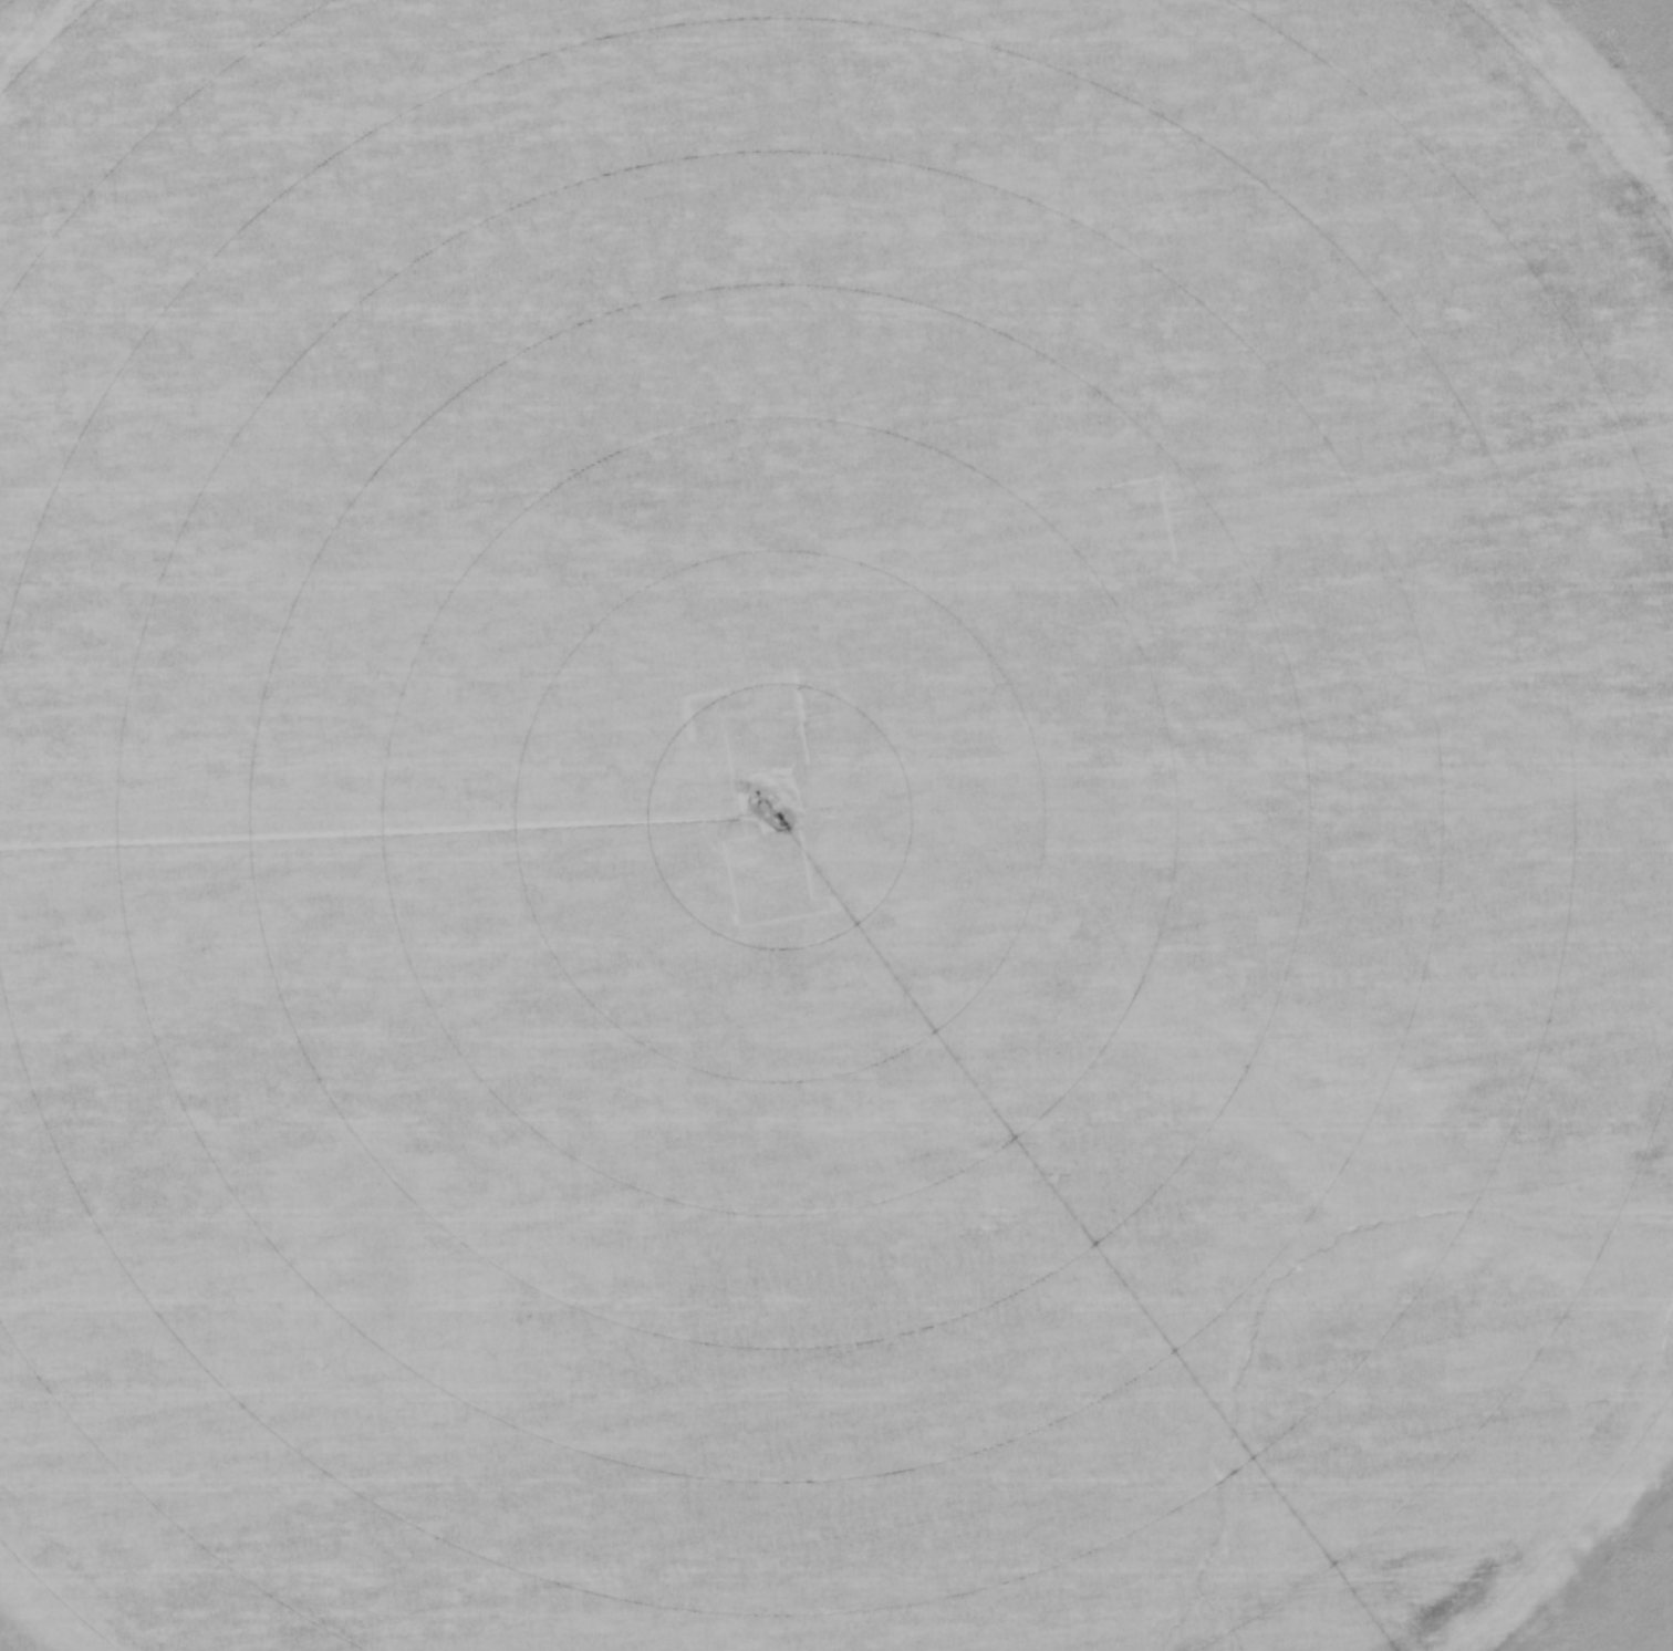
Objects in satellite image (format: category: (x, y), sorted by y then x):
crop: (836, 825)

